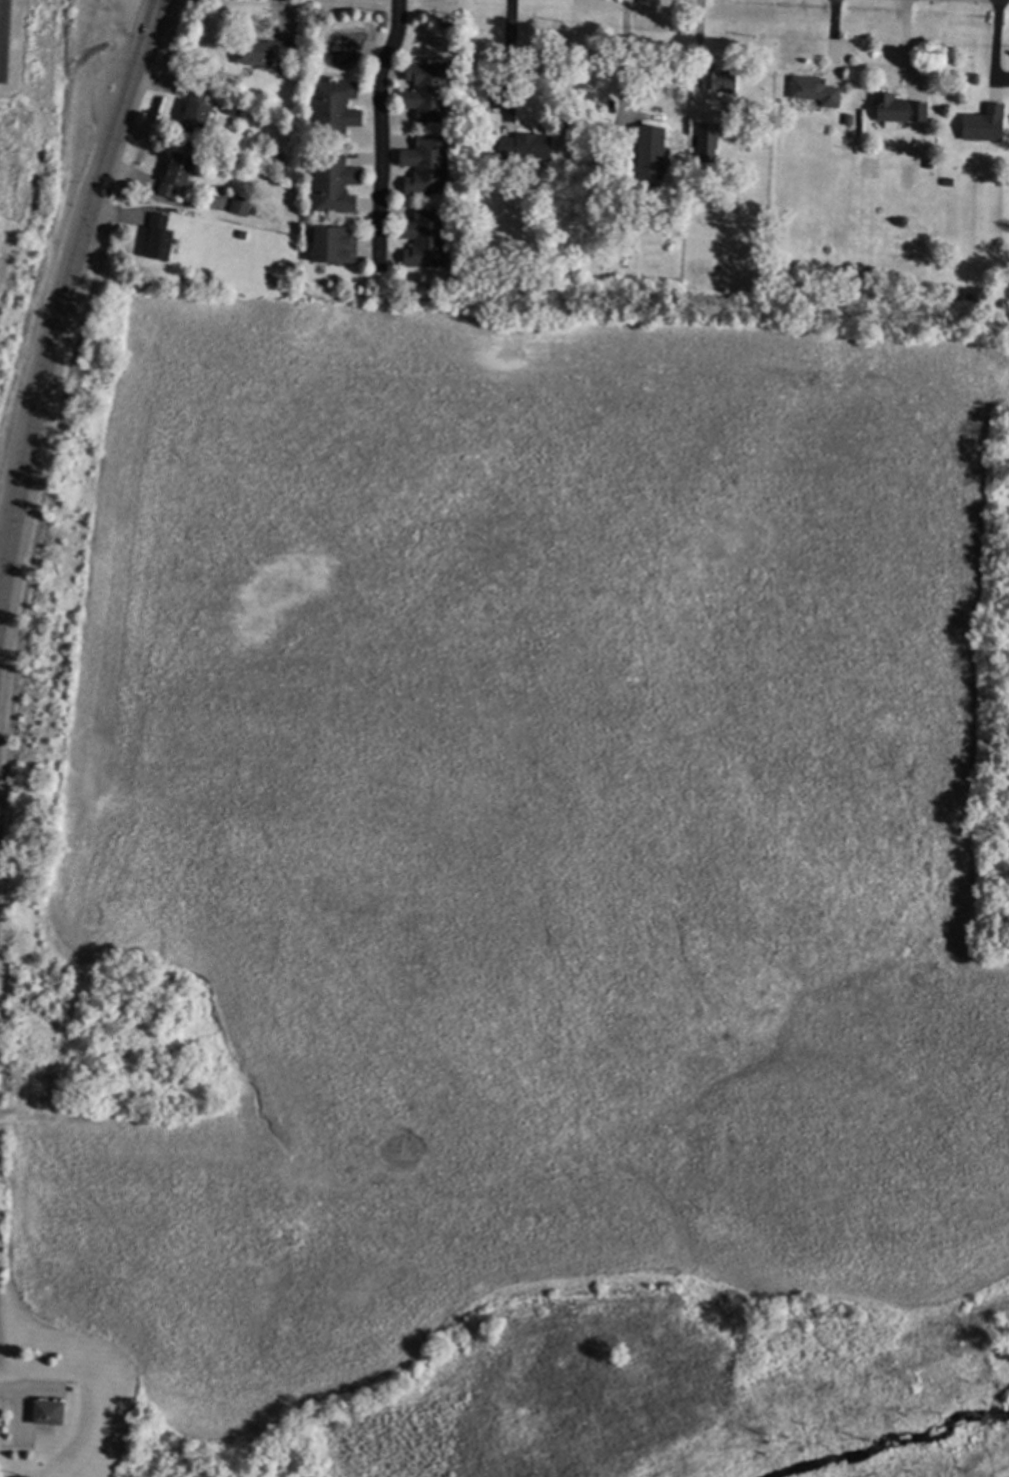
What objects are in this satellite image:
park: (4, 39)
road: (905, 45)
park: (18, 47)
road: (699, 47)
road: (993, 47)
building: (265, 52)
road: (507, 56)
road: (623, 59)
building: (722, 80)
building: (816, 90)
building: (428, 92)
building: (235, 110)
building: (336, 110)
building: (895, 110)
building: (198, 111)
building: (754, 115)
building: (847, 119)
building: (985, 124)
road: (377, 132)
building: (709, 136)
building: (527, 146)
building: (651, 157)
building: (427, 166)
building: (177, 174)
building: (231, 179)
building: (950, 181)
building: (335, 183)
building: (243, 206)
building: (255, 212)
building: (244, 234)
building: (160, 238)
building: (427, 238)
building: (335, 245)
building: (547, 246)
building: (570, 248)
road: (64, 295)
building: (51, 1412)

